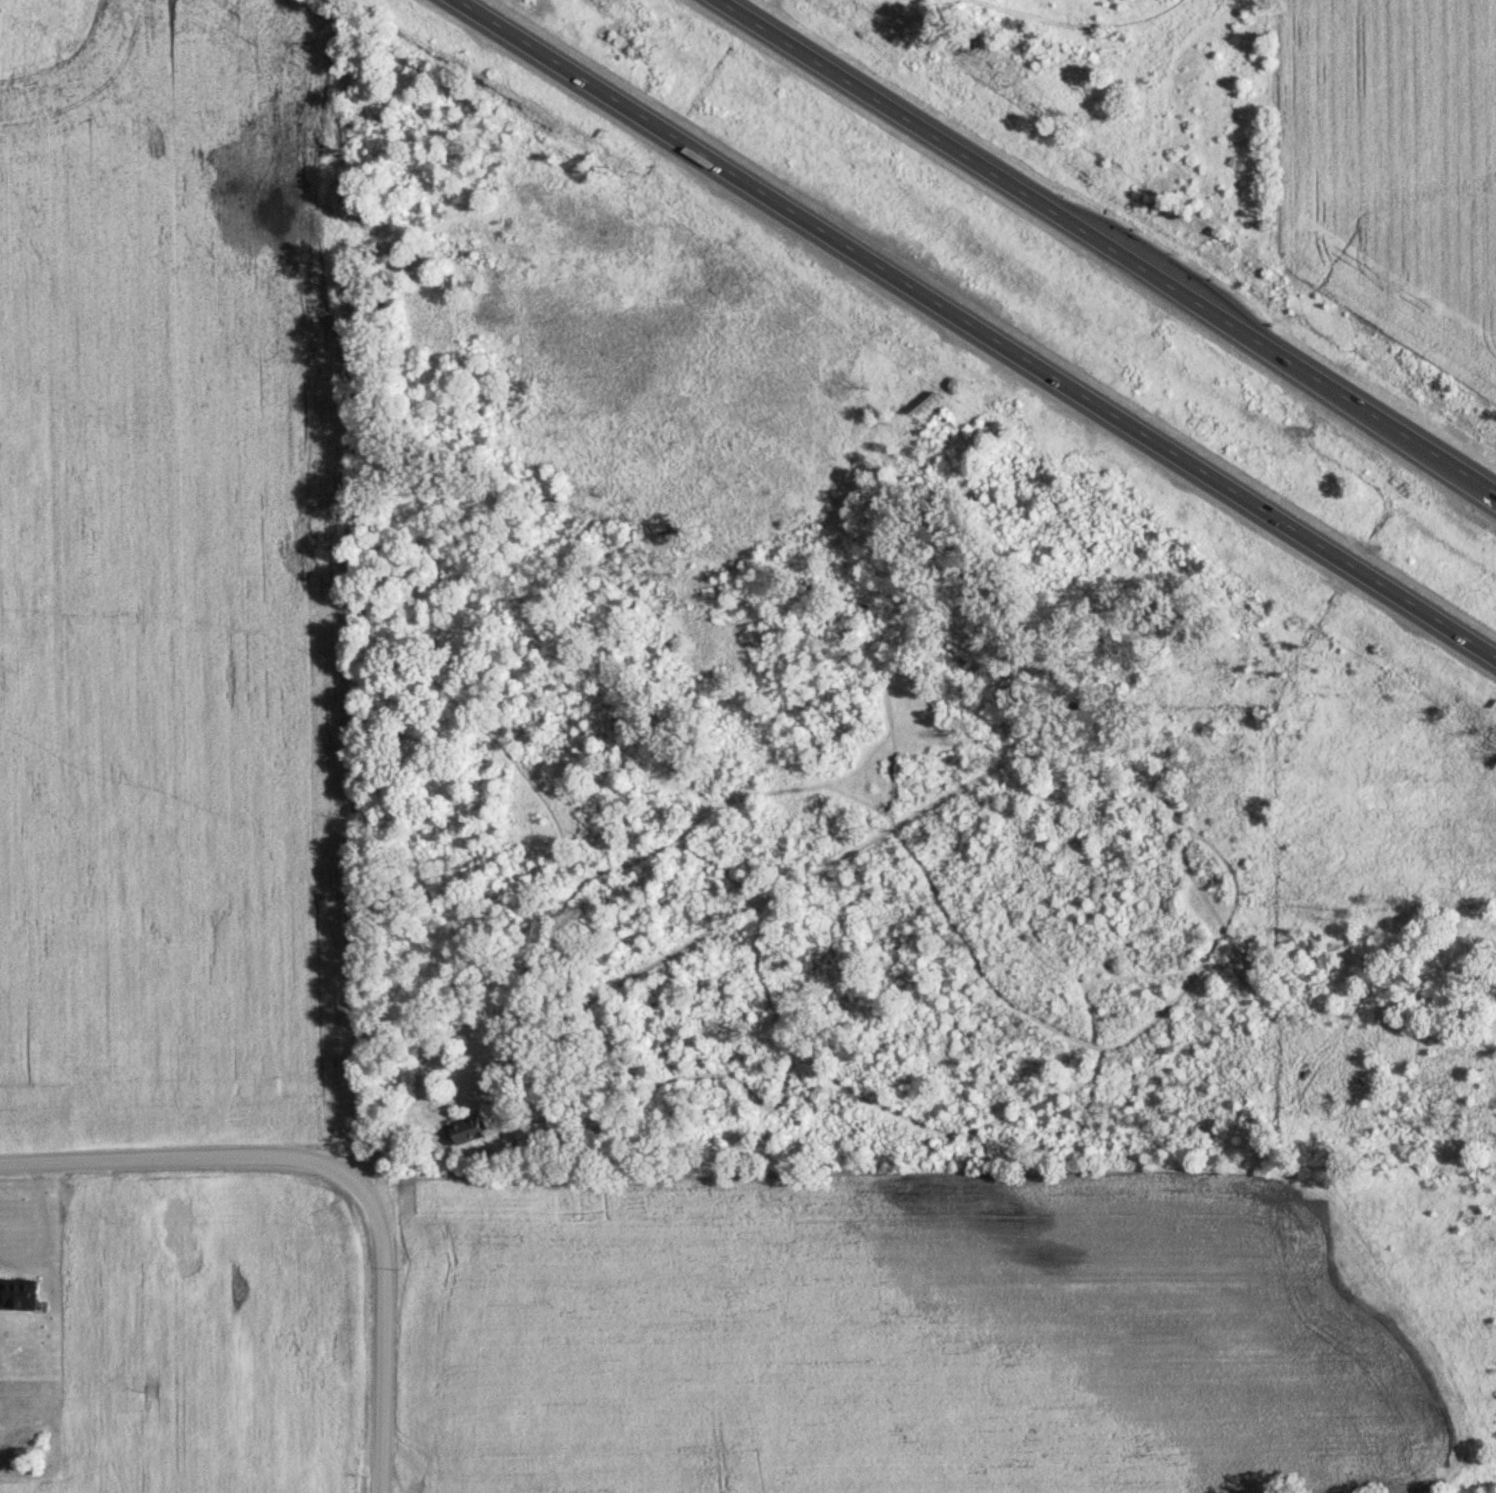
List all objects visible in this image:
road: (1110, 247)
road: (969, 329)
building: (465, 1128)
building: (534, 1133)
road: (334, 1179)
building: (177, 1224)
building: (18, 1293)

